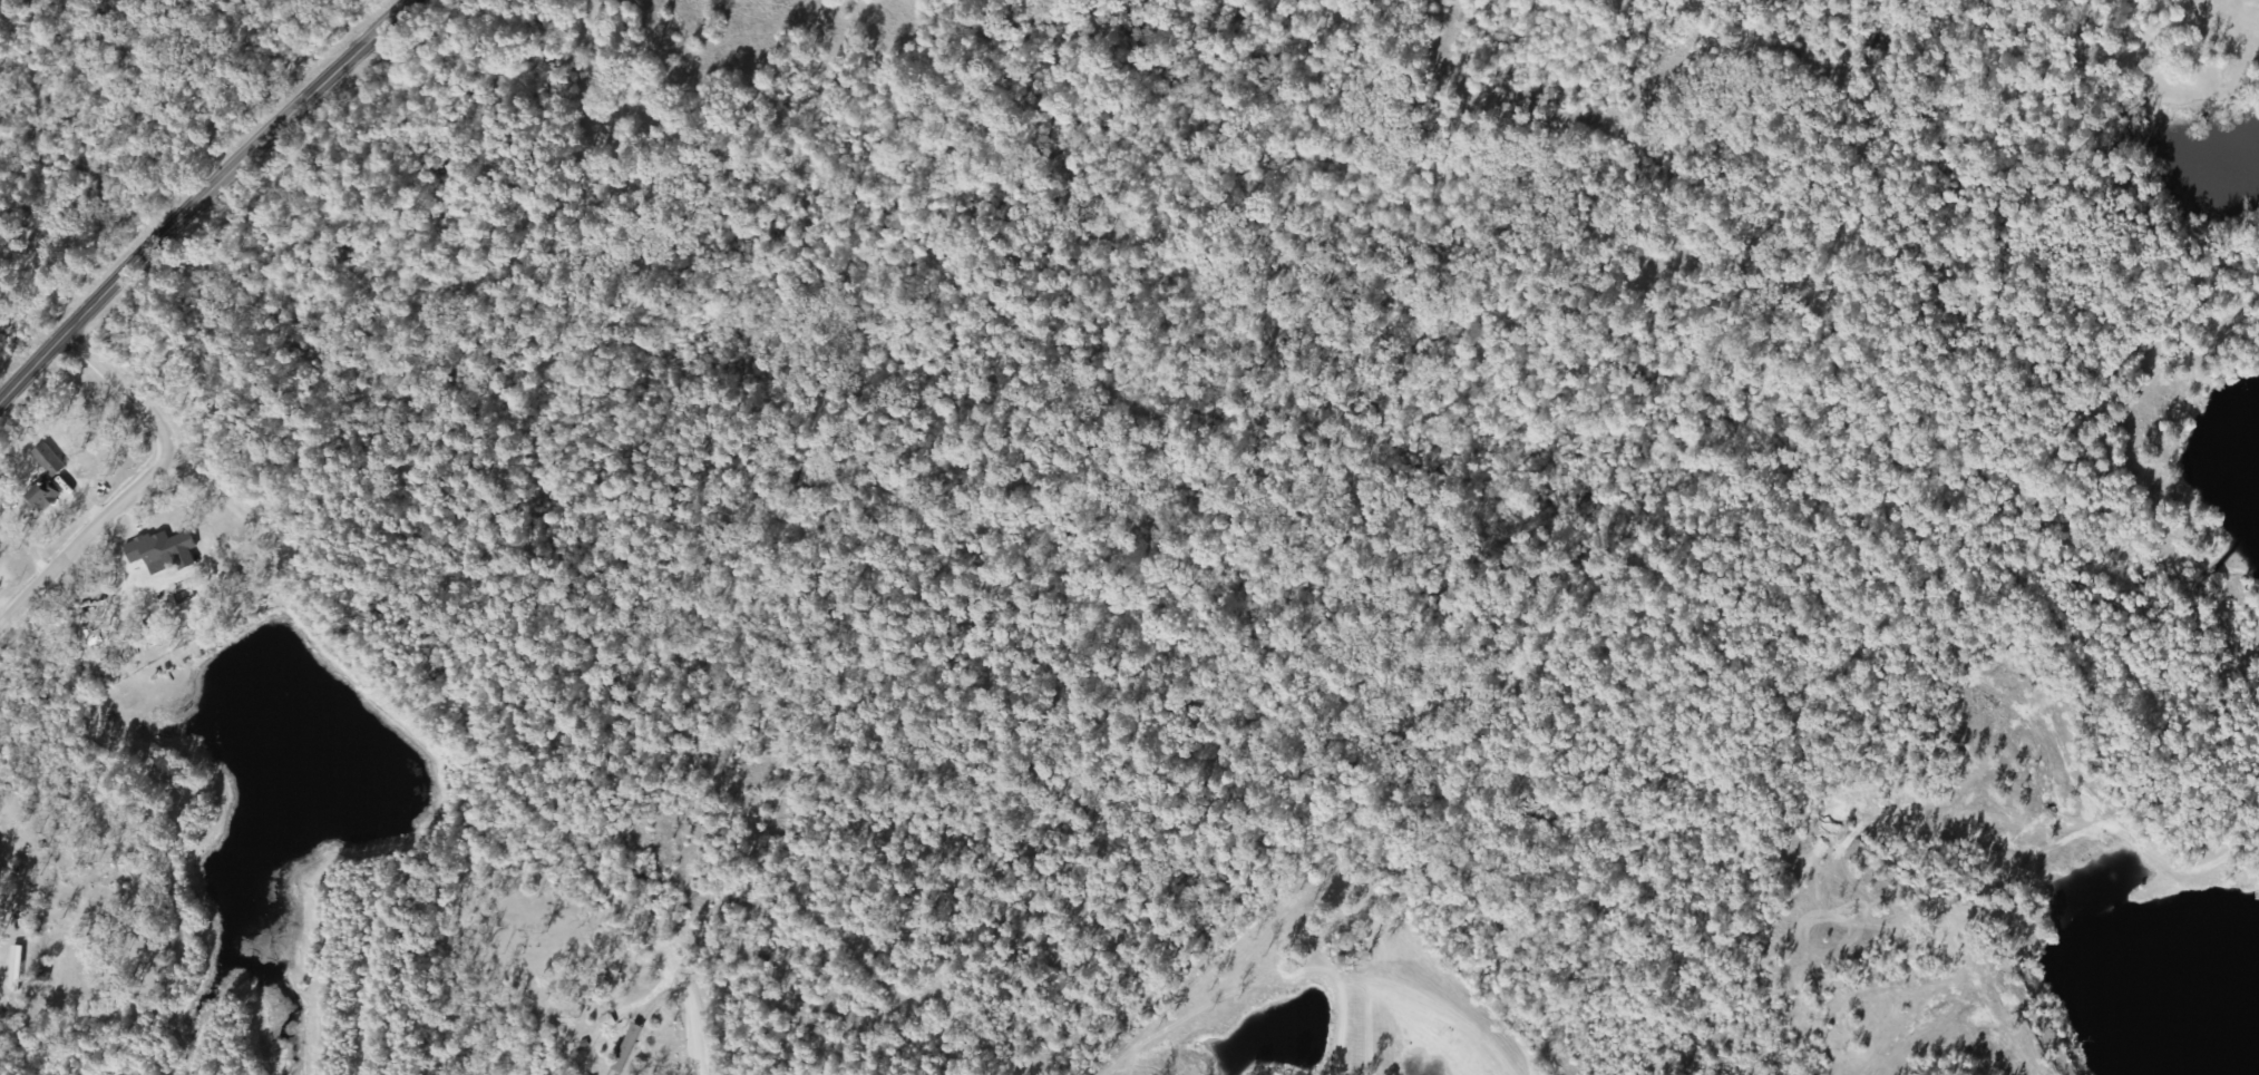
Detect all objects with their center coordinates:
road: (203, 196)
road: (2236, 341)
road: (140, 483)
building: (38, 496)
building: (156, 548)
road: (2255, 744)
building: (27, 946)
road: (685, 1006)
building: (624, 1049)

